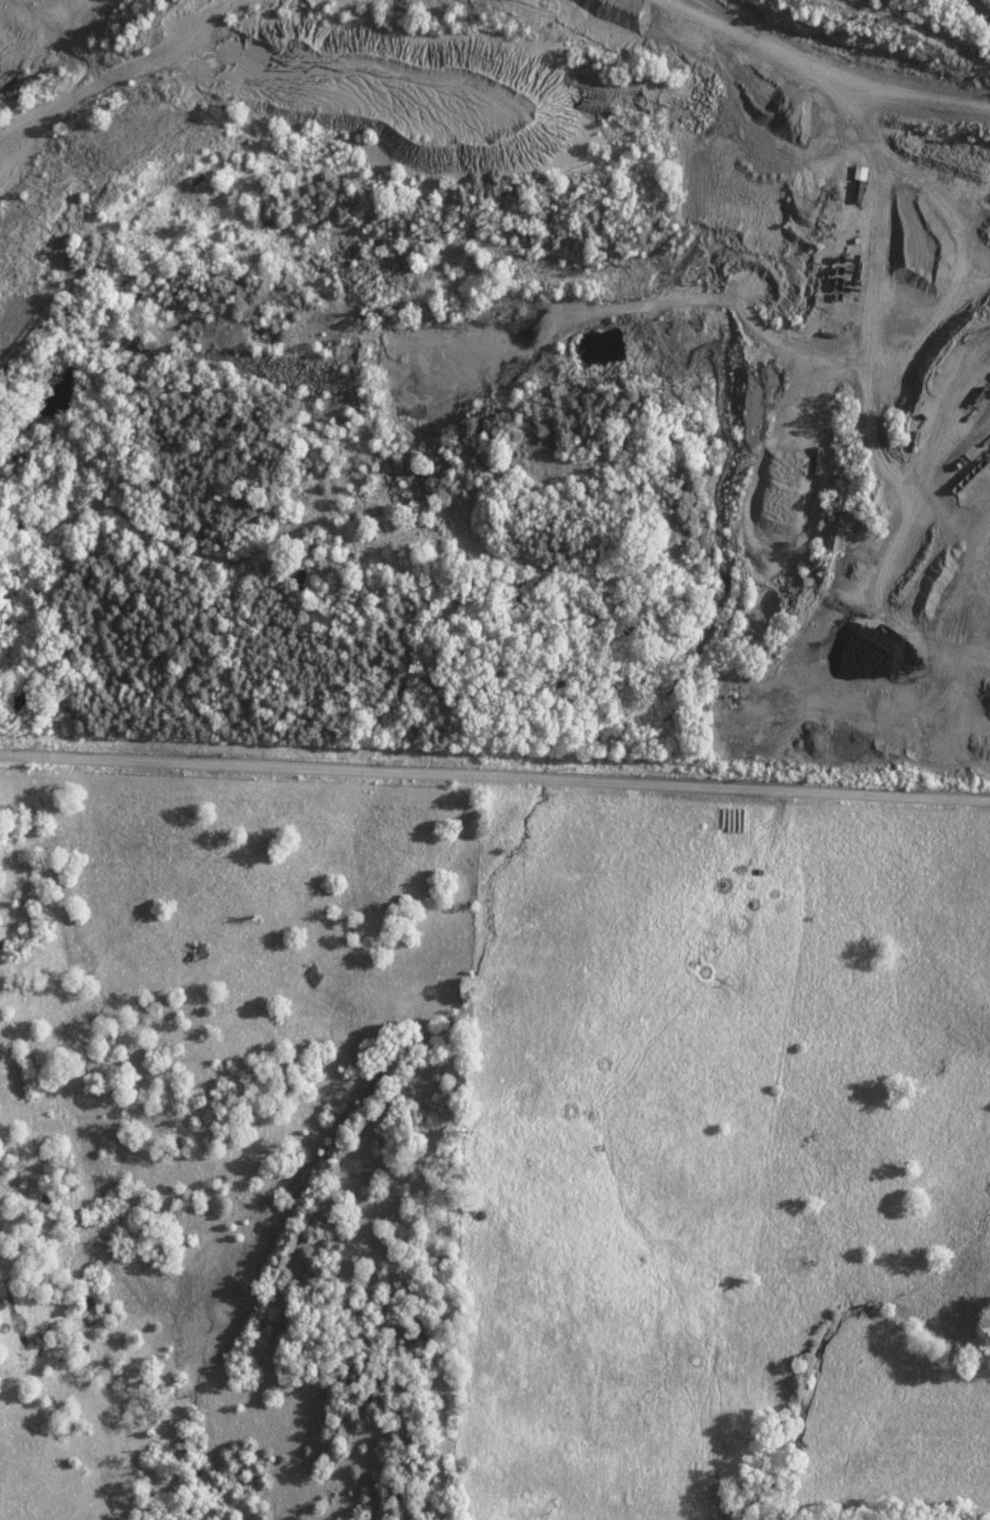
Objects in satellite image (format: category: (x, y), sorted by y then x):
road: (982, 7)
road: (494, 775)

